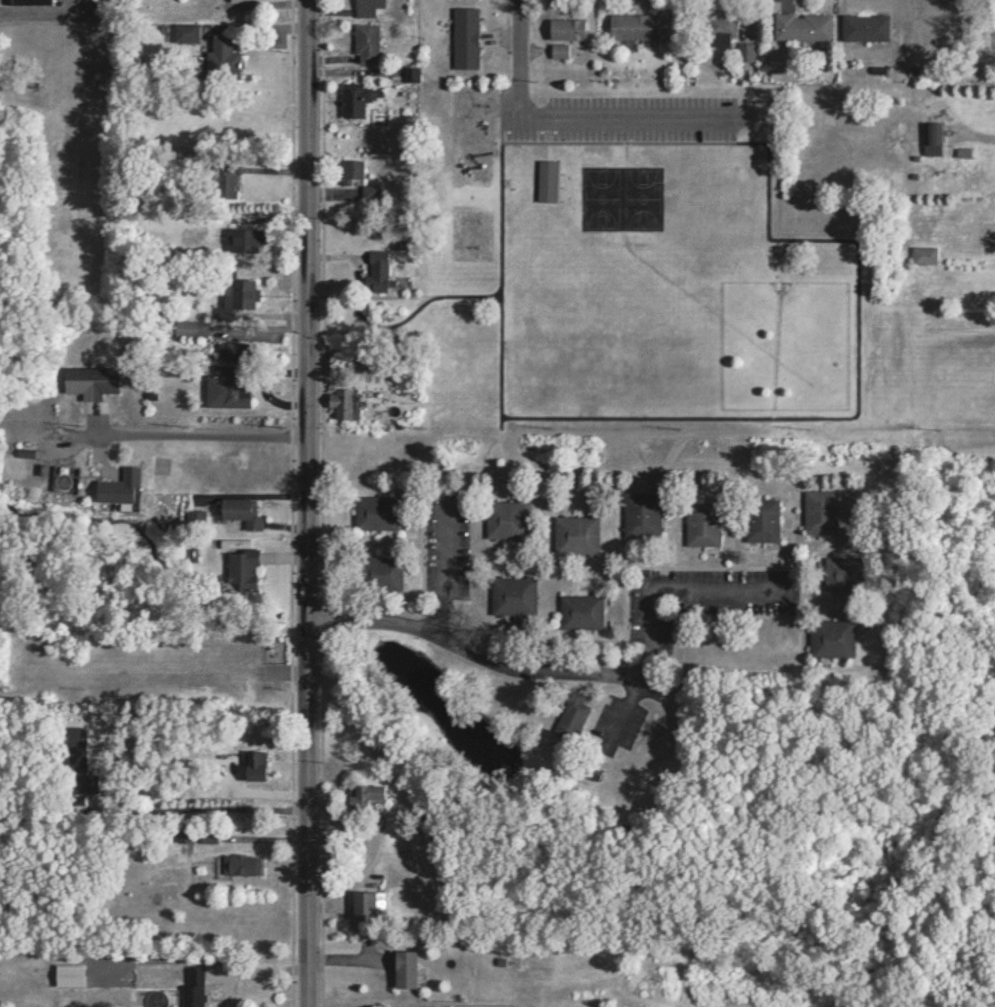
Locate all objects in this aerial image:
building: (25, 2)
building: (363, 7)
road: (41, 8)
building: (718, 24)
building: (635, 27)
building: (799, 27)
building: (862, 27)
building: (561, 30)
building: (185, 32)
building: (460, 38)
building: (361, 43)
road: (517, 45)
building: (742, 52)
building: (218, 54)
building: (352, 98)
road: (615, 114)
building: (346, 172)
building: (219, 181)
building: (542, 181)
building: (238, 239)
building: (920, 255)
building: (231, 298)
building: (186, 328)
building: (226, 351)
building: (86, 382)
building: (223, 388)
building: (339, 403)
road: (196, 434)
building: (114, 487)
road: (303, 503)
building: (235, 511)
building: (371, 512)
building: (817, 512)
building: (637, 515)
building: (504, 519)
building: (758, 520)
building: (698, 524)
building: (572, 535)
building: (238, 570)
road: (444, 572)
building: (377, 573)
building: (842, 573)
building: (509, 596)
building: (577, 611)
building: (827, 638)
road: (574, 673)
building: (566, 716)
building: (74, 763)
building: (586, 771)
building: (362, 796)
road: (199, 809)
building: (179, 833)
building: (202, 838)
road: (363, 861)
building: (236, 865)
building: (362, 905)
road: (246, 968)
building: (397, 969)
building: (187, 986)

